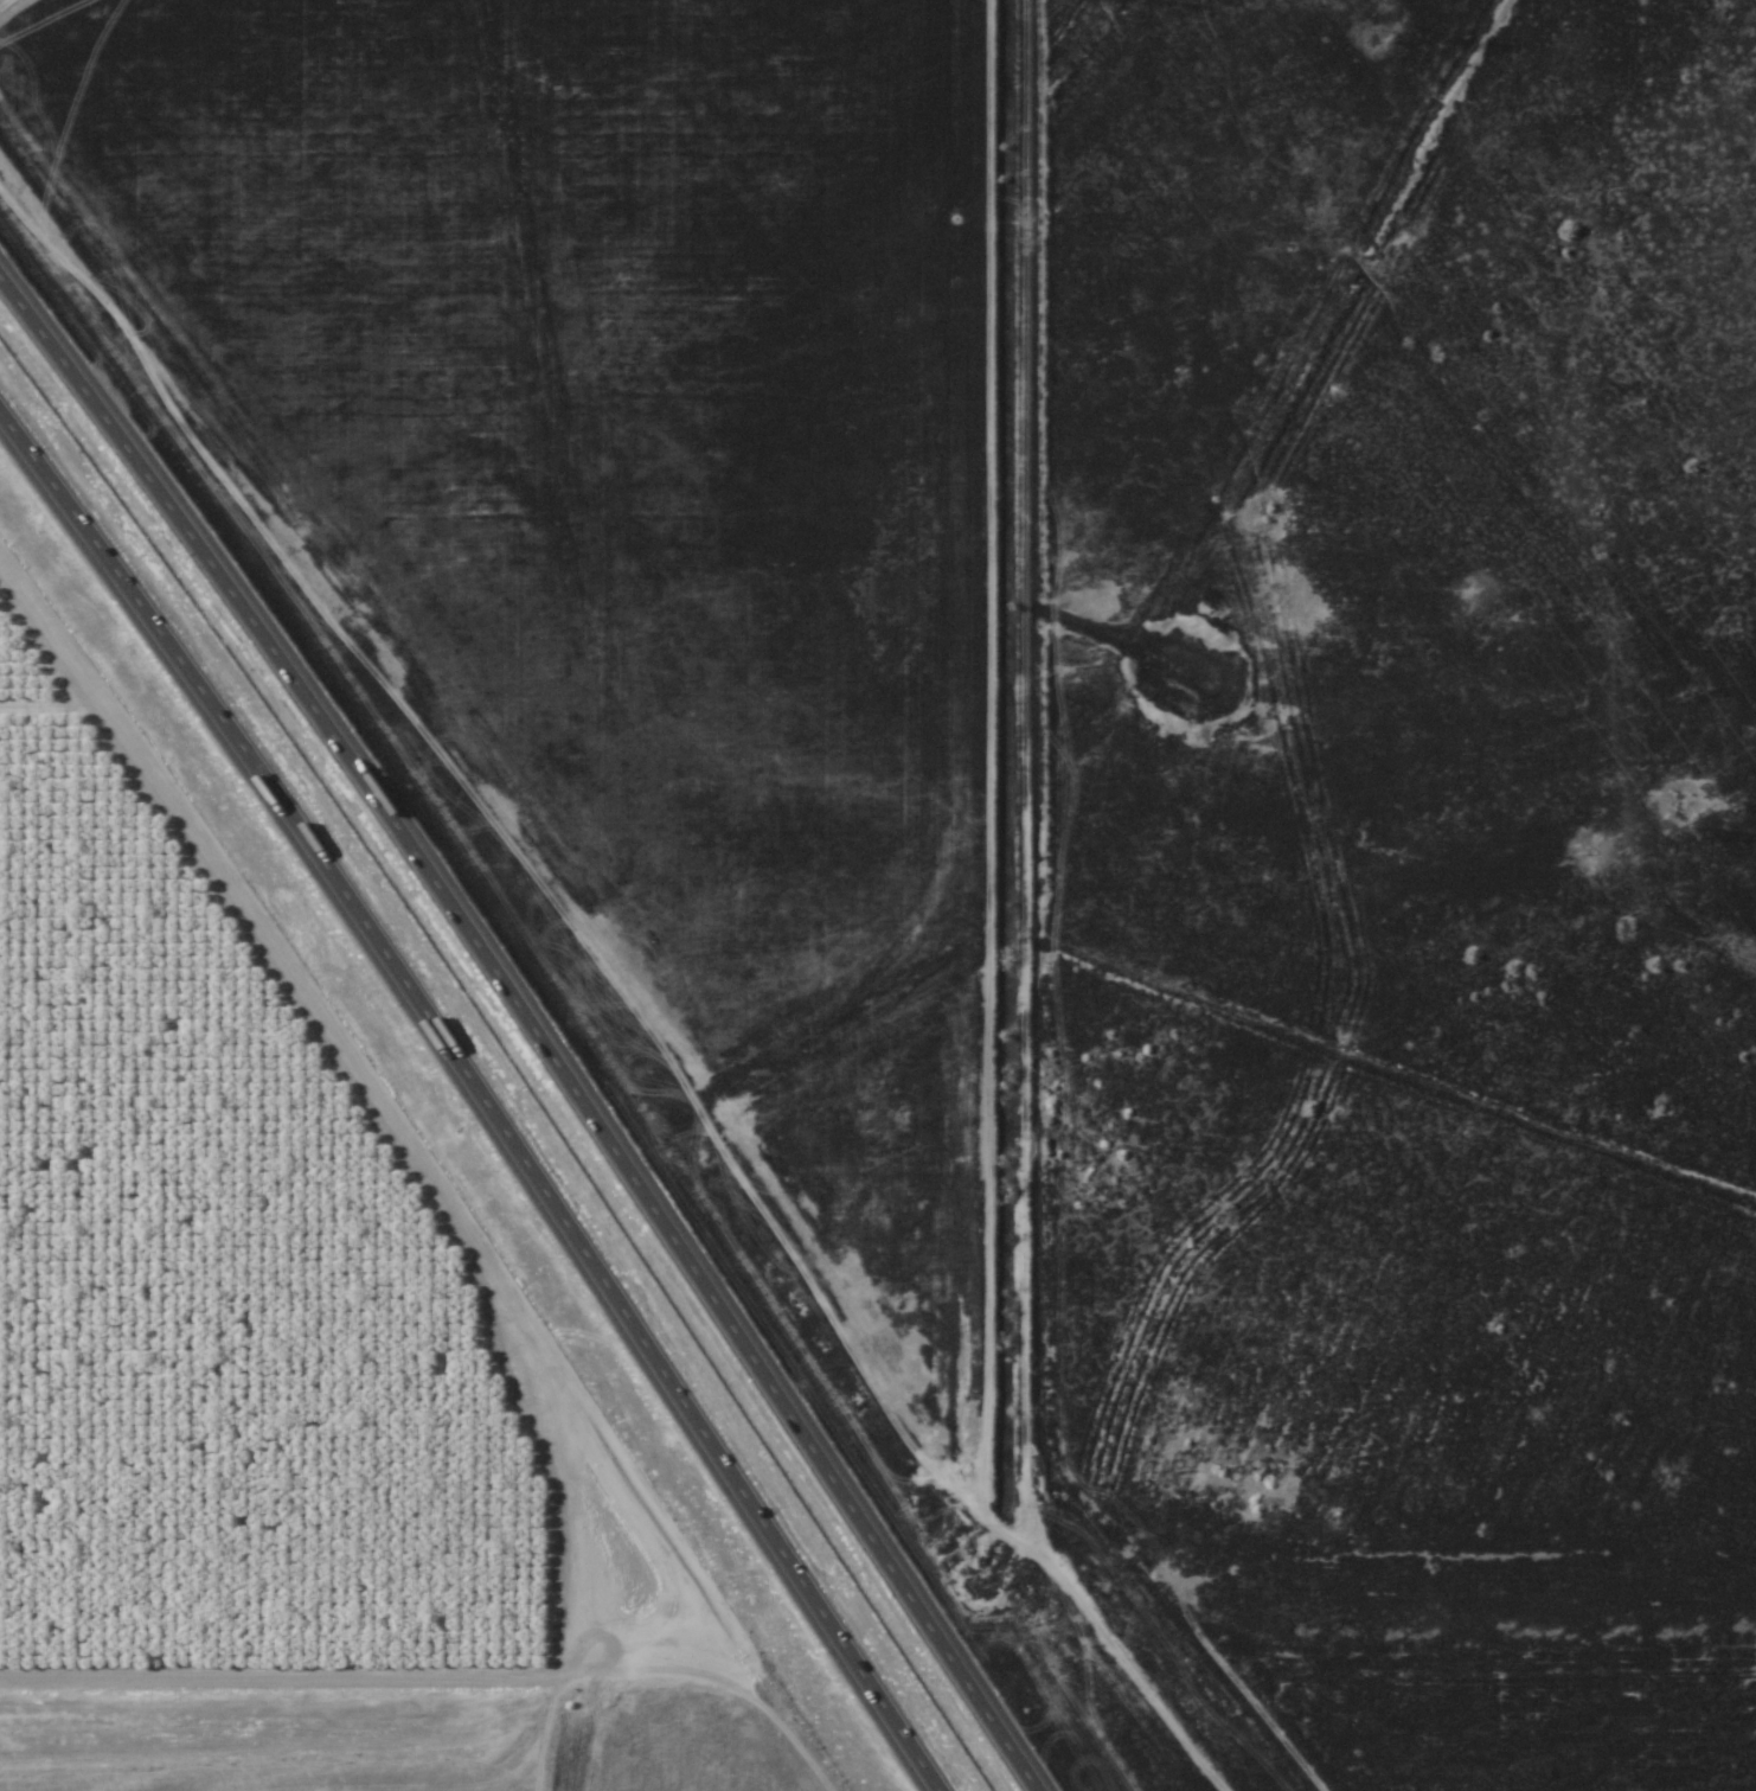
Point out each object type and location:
power tower: (1366, 11)
road: (443, 773)
power tower: (1731, 838)
road: (966, 940)
road: (827, 1009)
road: (536, 1022)
road: (474, 1099)
crop: (225, 1292)
road: (1371, 1516)
road: (431, 1646)

